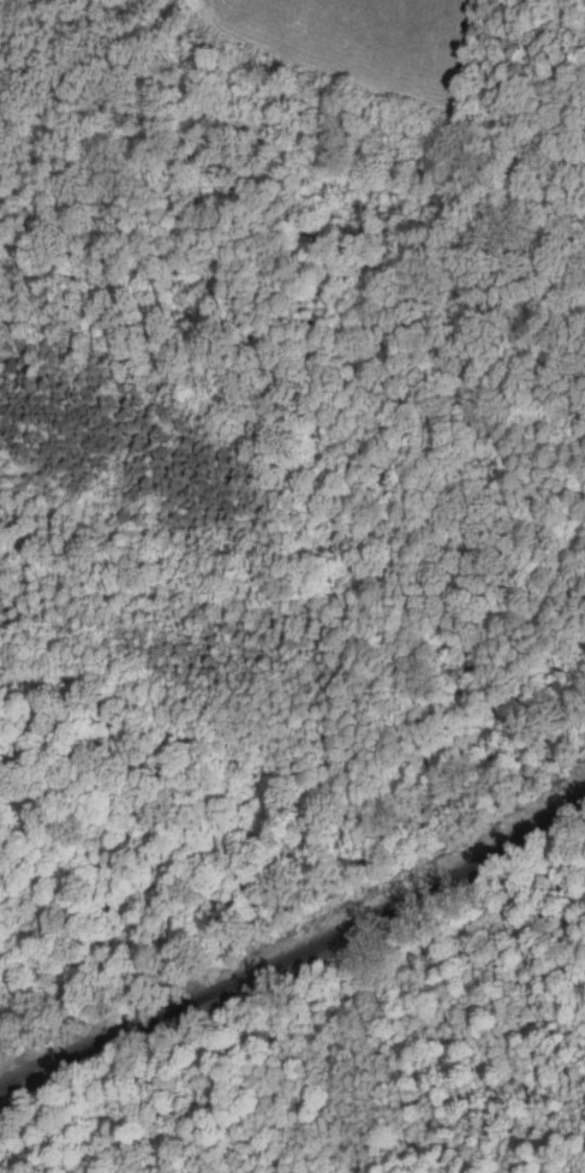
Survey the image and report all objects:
railway: (302, 954)

